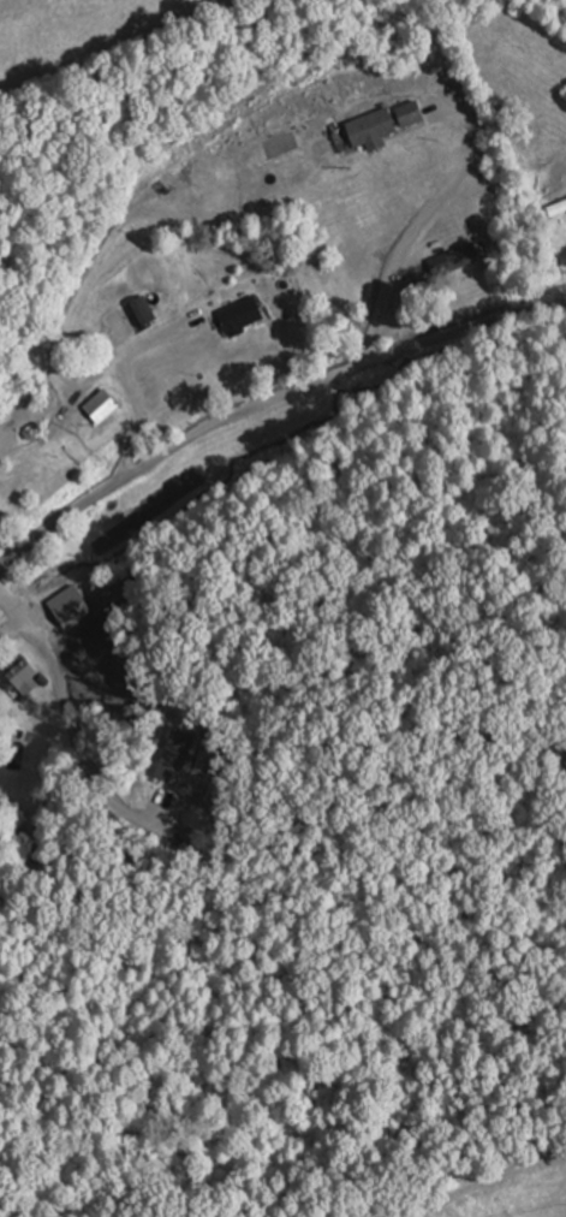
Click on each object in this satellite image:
building: (388, 123)
building: (560, 207)
building: (467, 256)
building: (144, 313)
building: (245, 314)
road: (267, 398)
building: (106, 404)
building: (25, 676)

